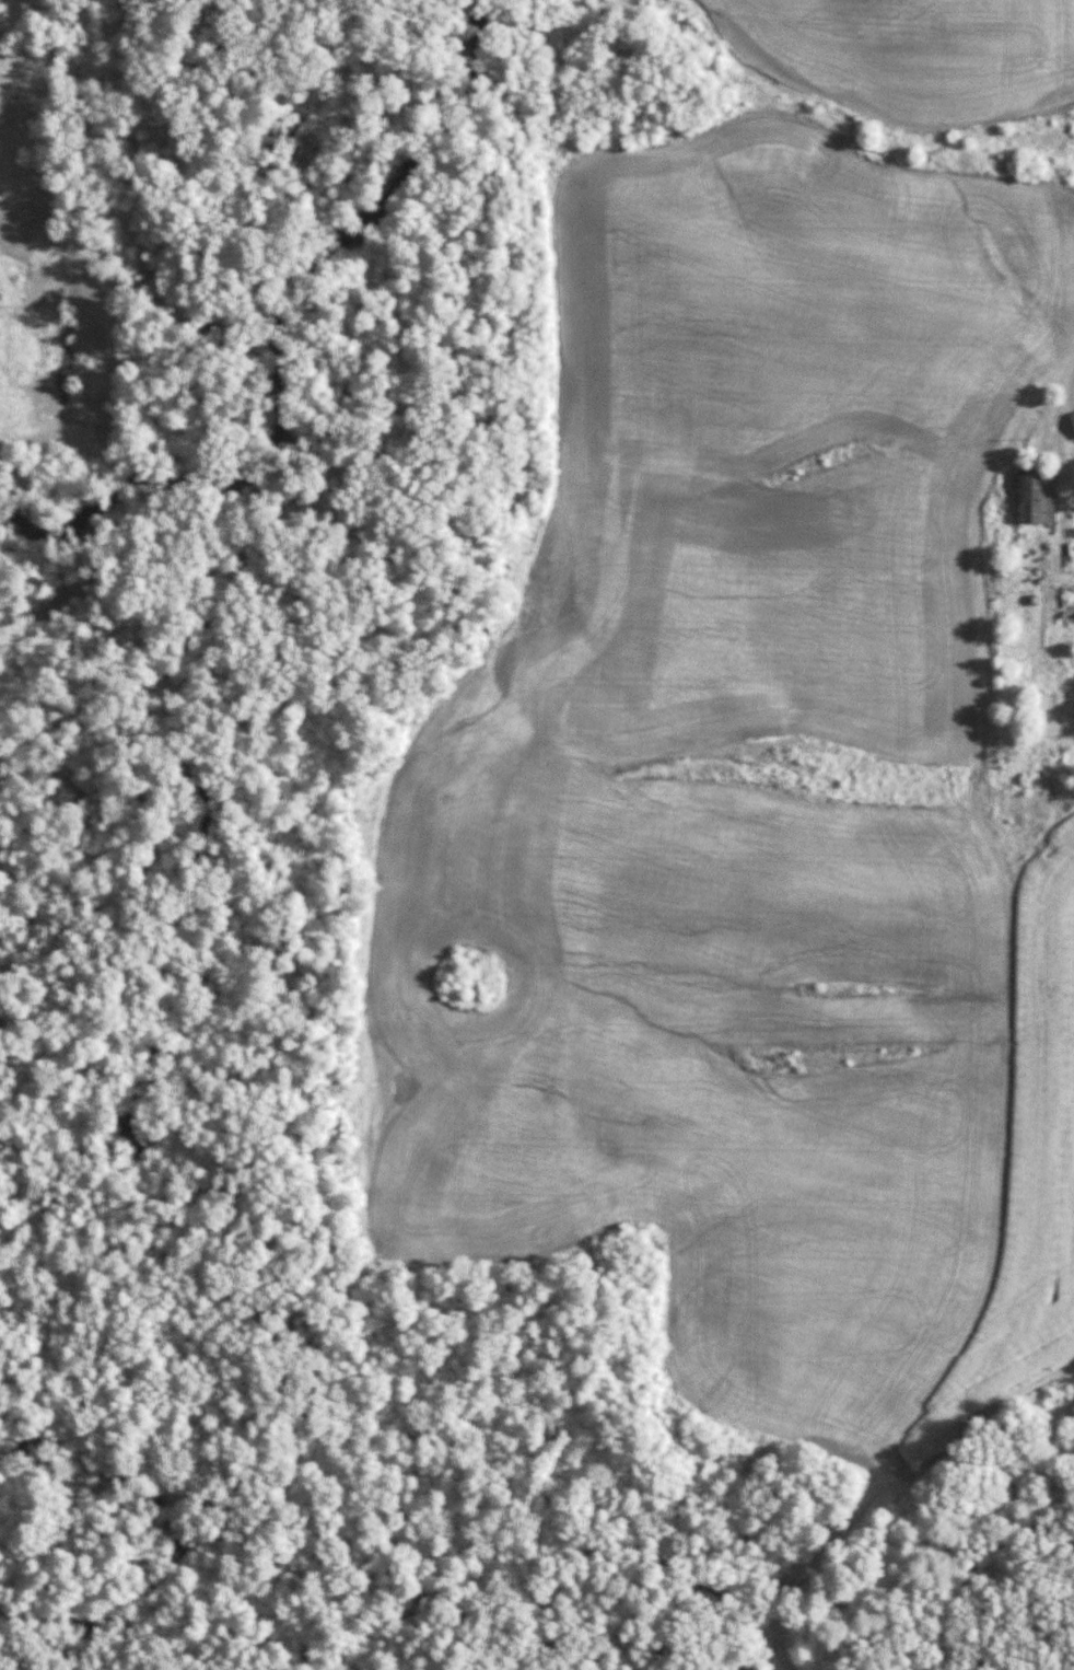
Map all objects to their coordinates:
road: (1061, 417)
building: (1072, 417)
building: (1037, 496)
building: (1064, 603)

